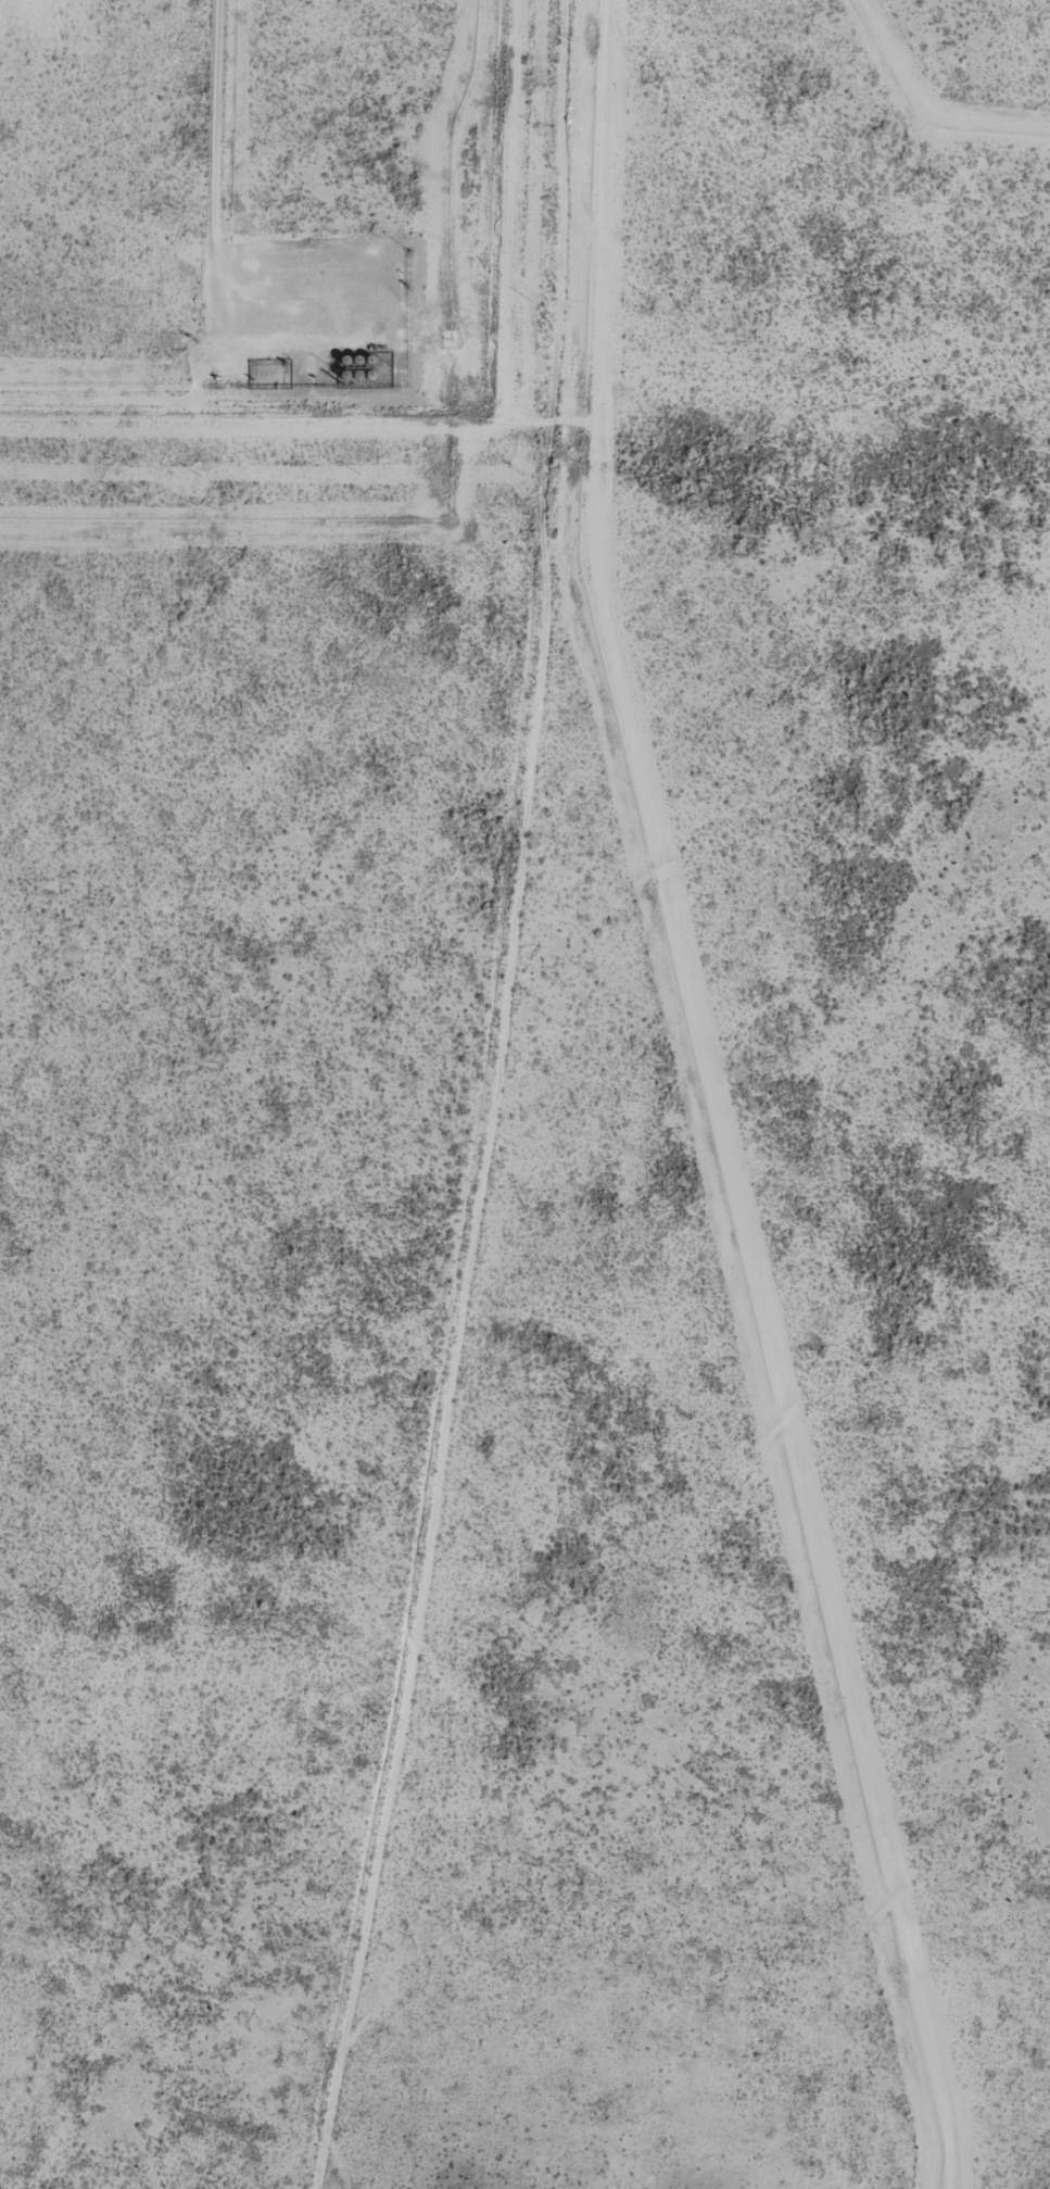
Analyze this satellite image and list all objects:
road: (493, 1099)

